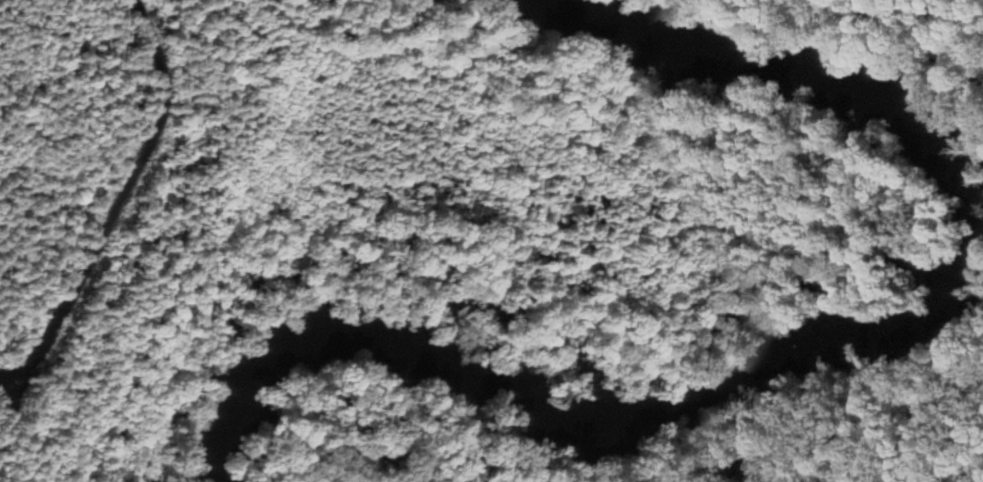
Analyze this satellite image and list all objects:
river: (835, 350)

